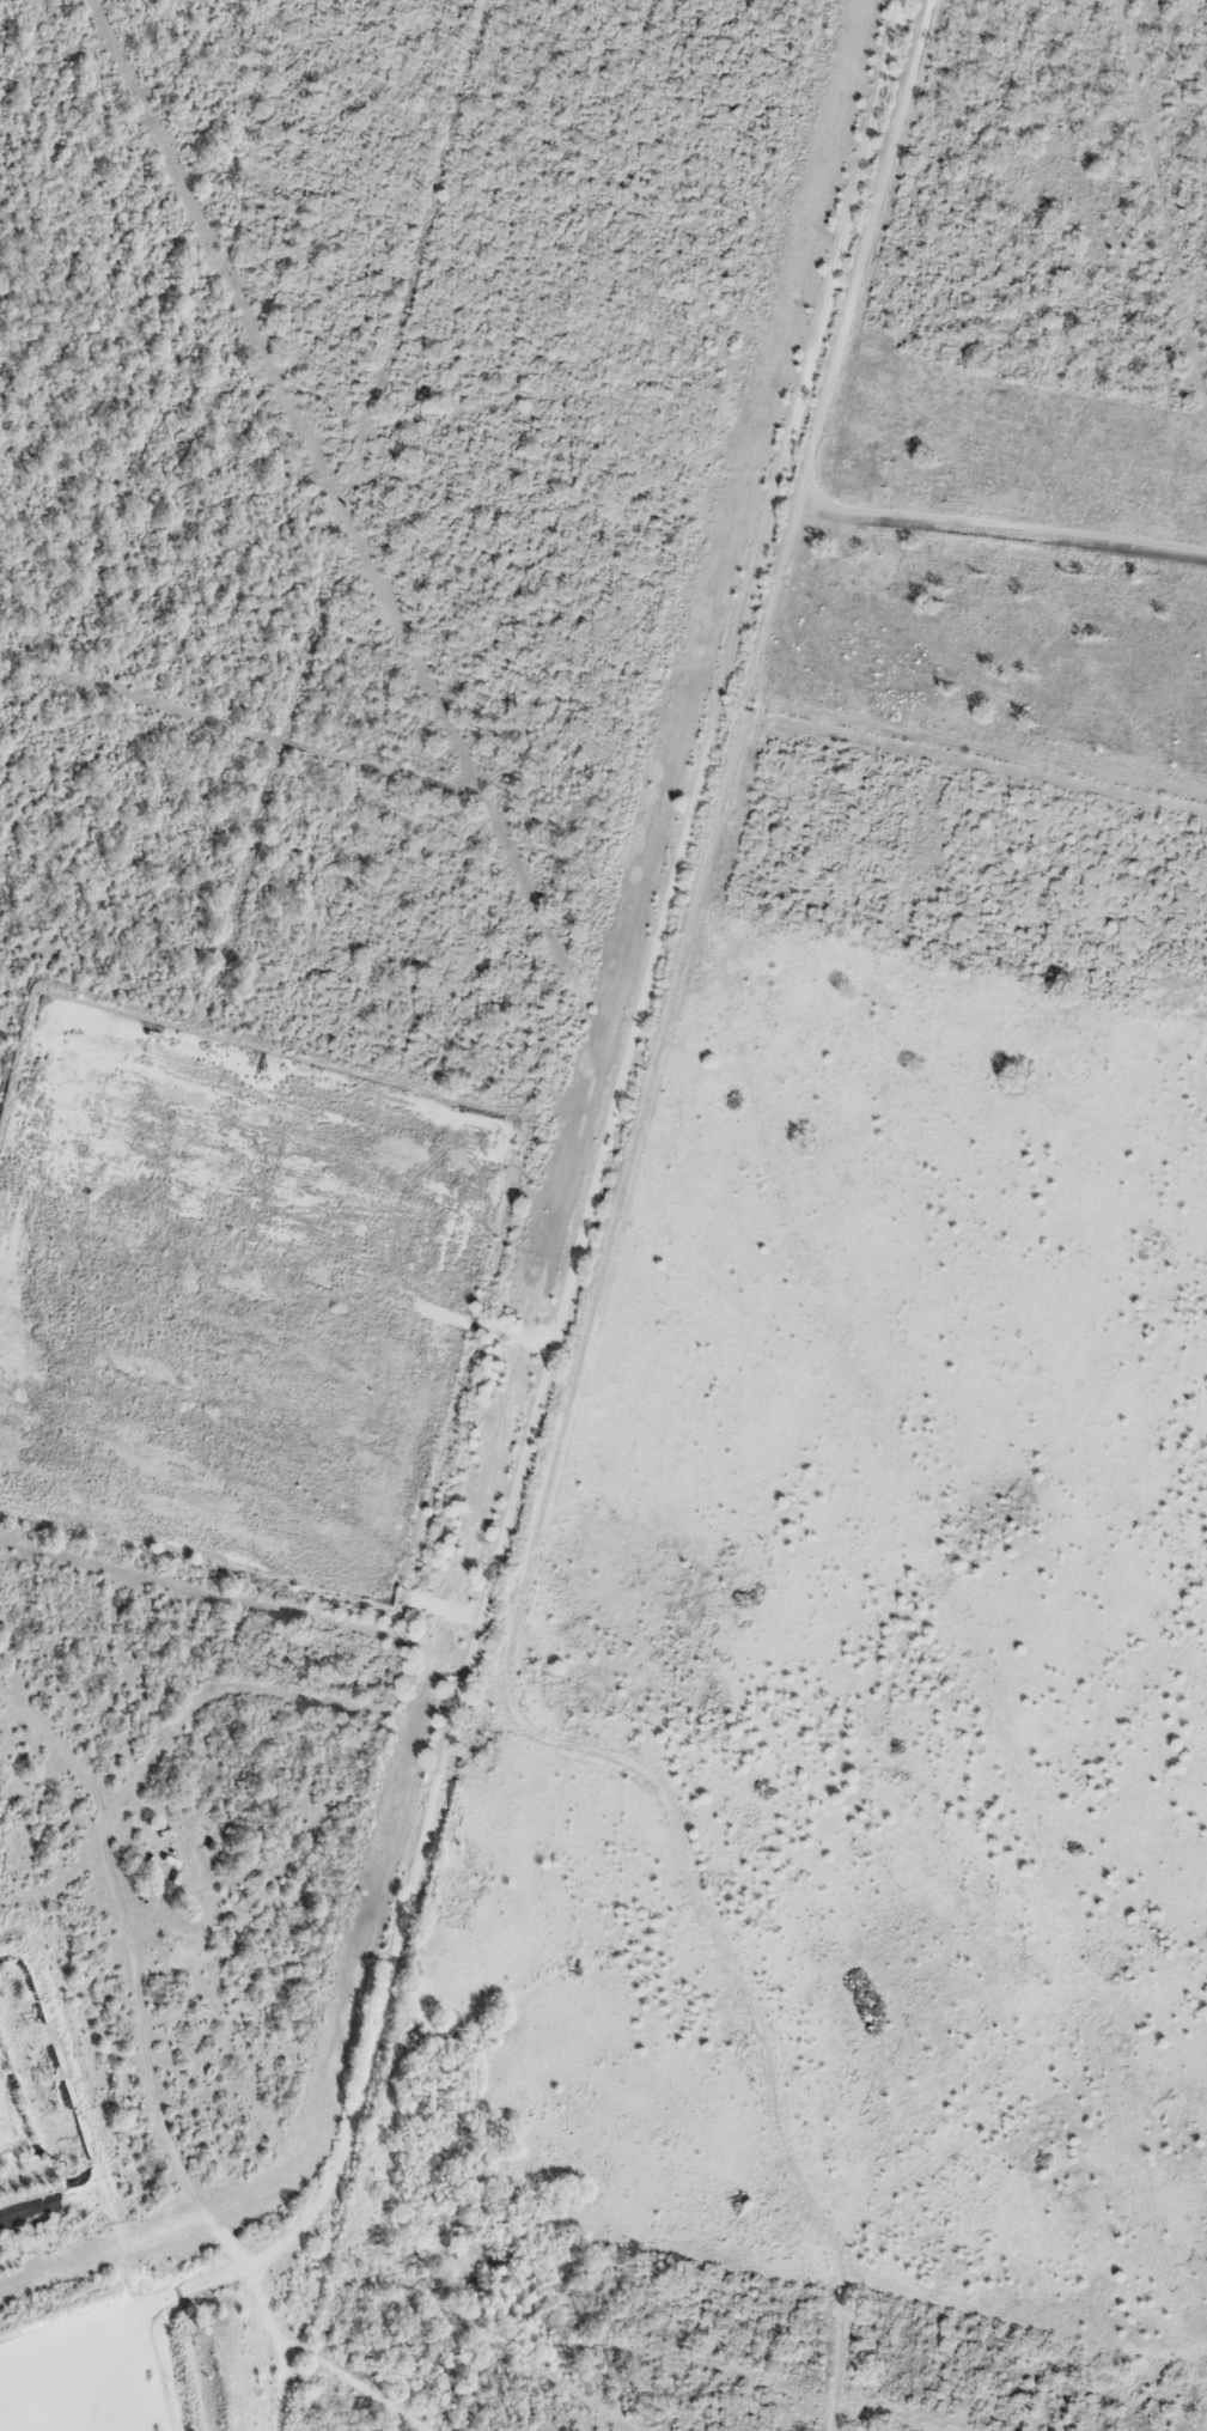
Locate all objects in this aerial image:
road: (568, 1280)
road: (451, 2420)

